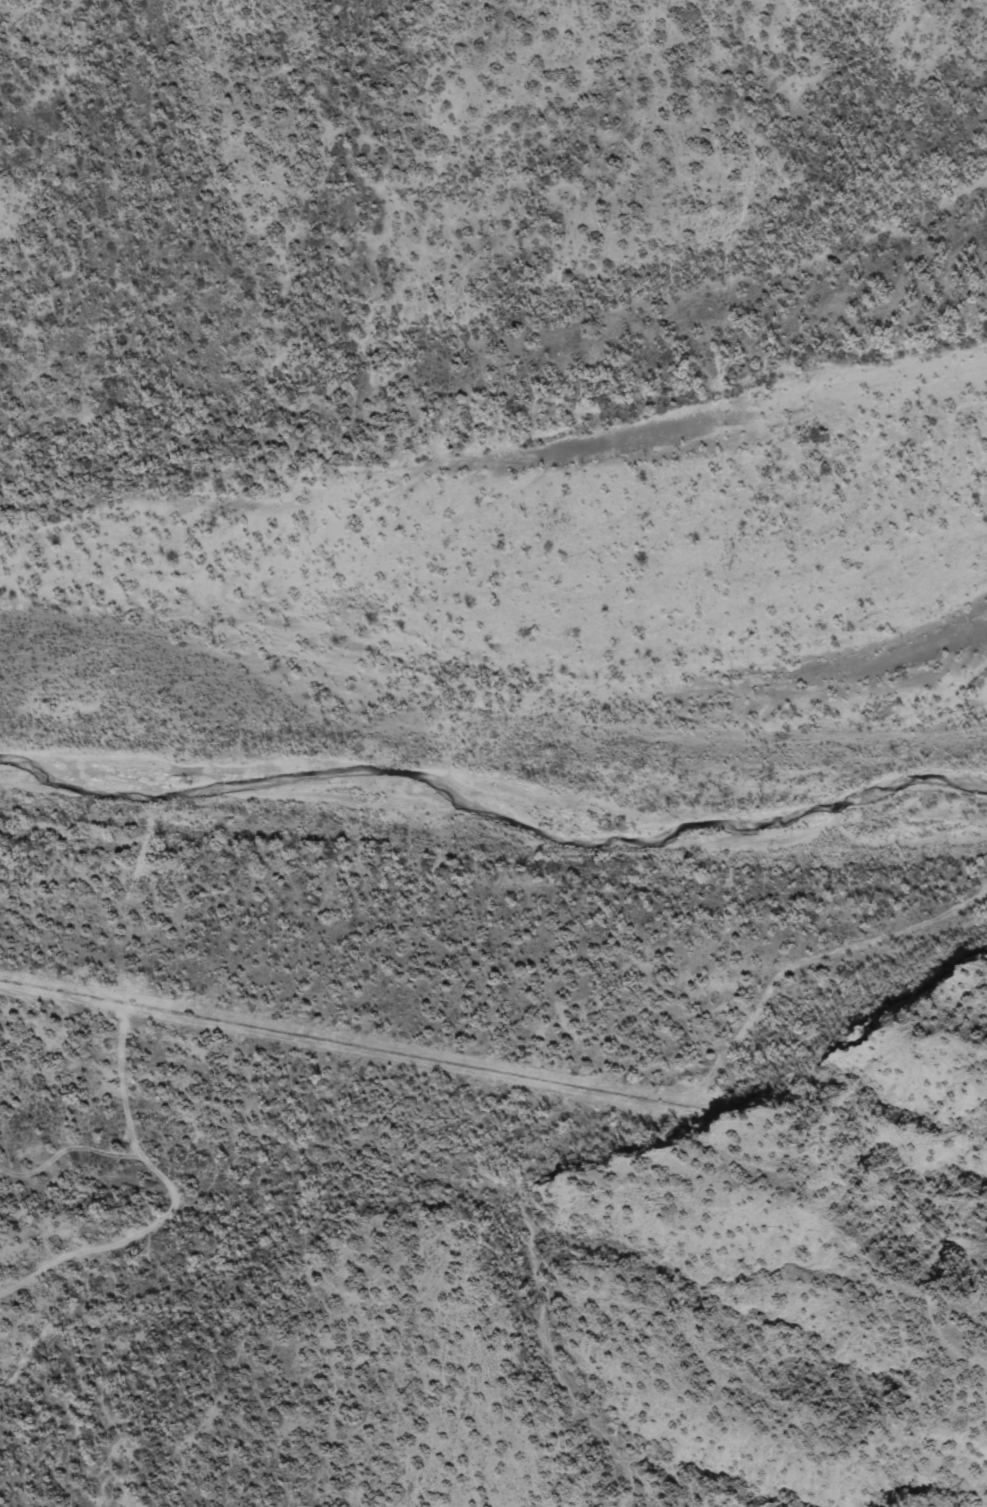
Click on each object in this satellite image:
river: (492, 822)

